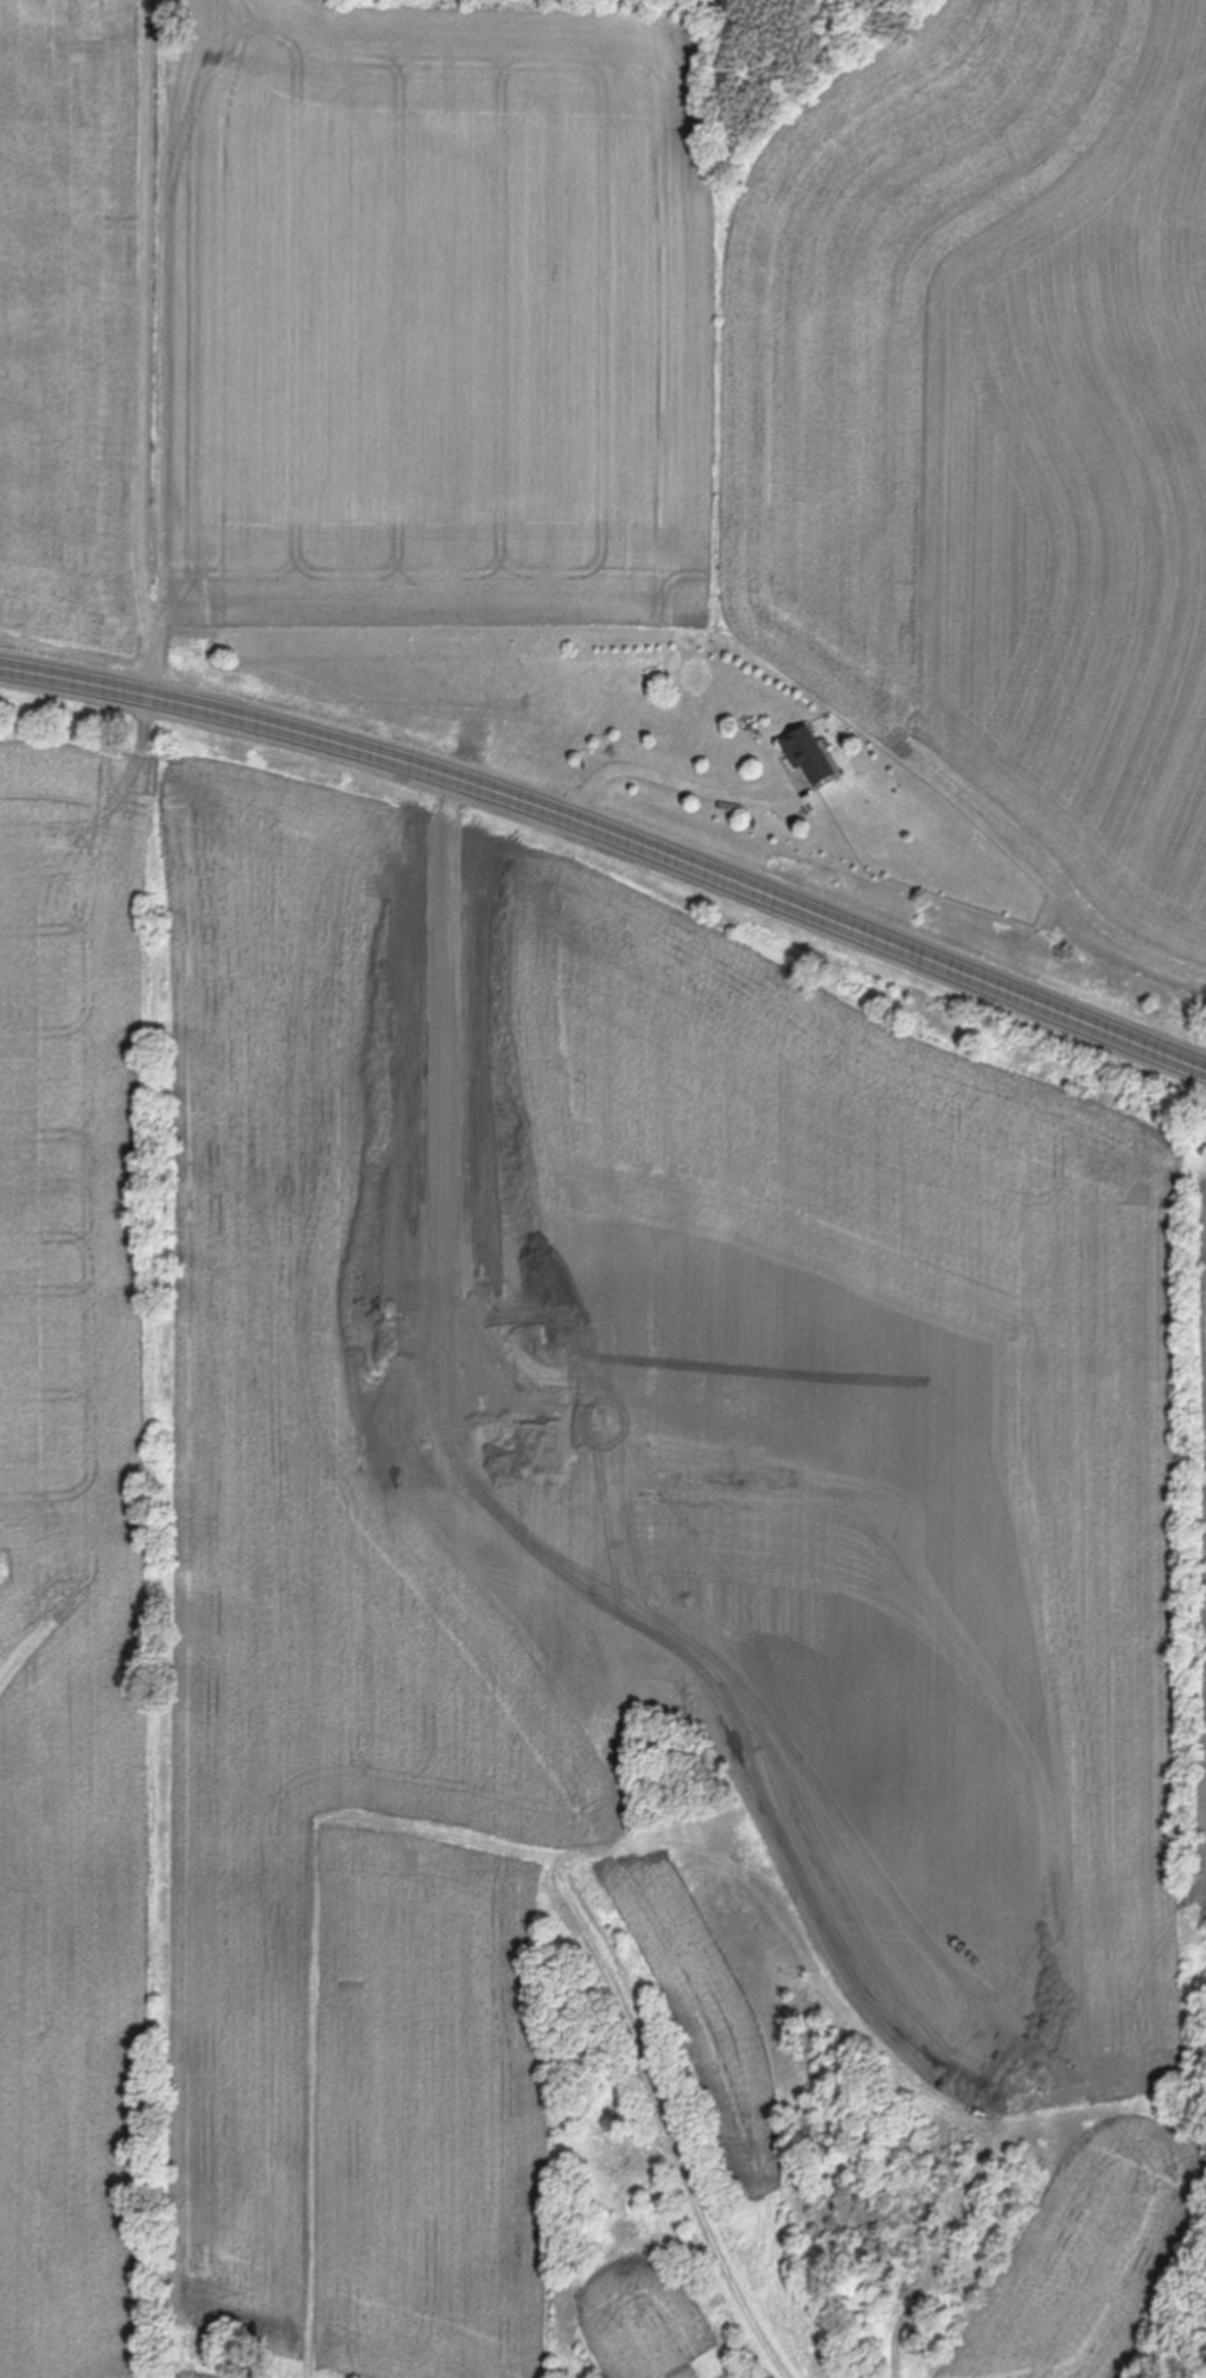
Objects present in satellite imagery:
road: (142, 351)
building: (806, 763)
road: (658, 780)
road: (614, 834)

